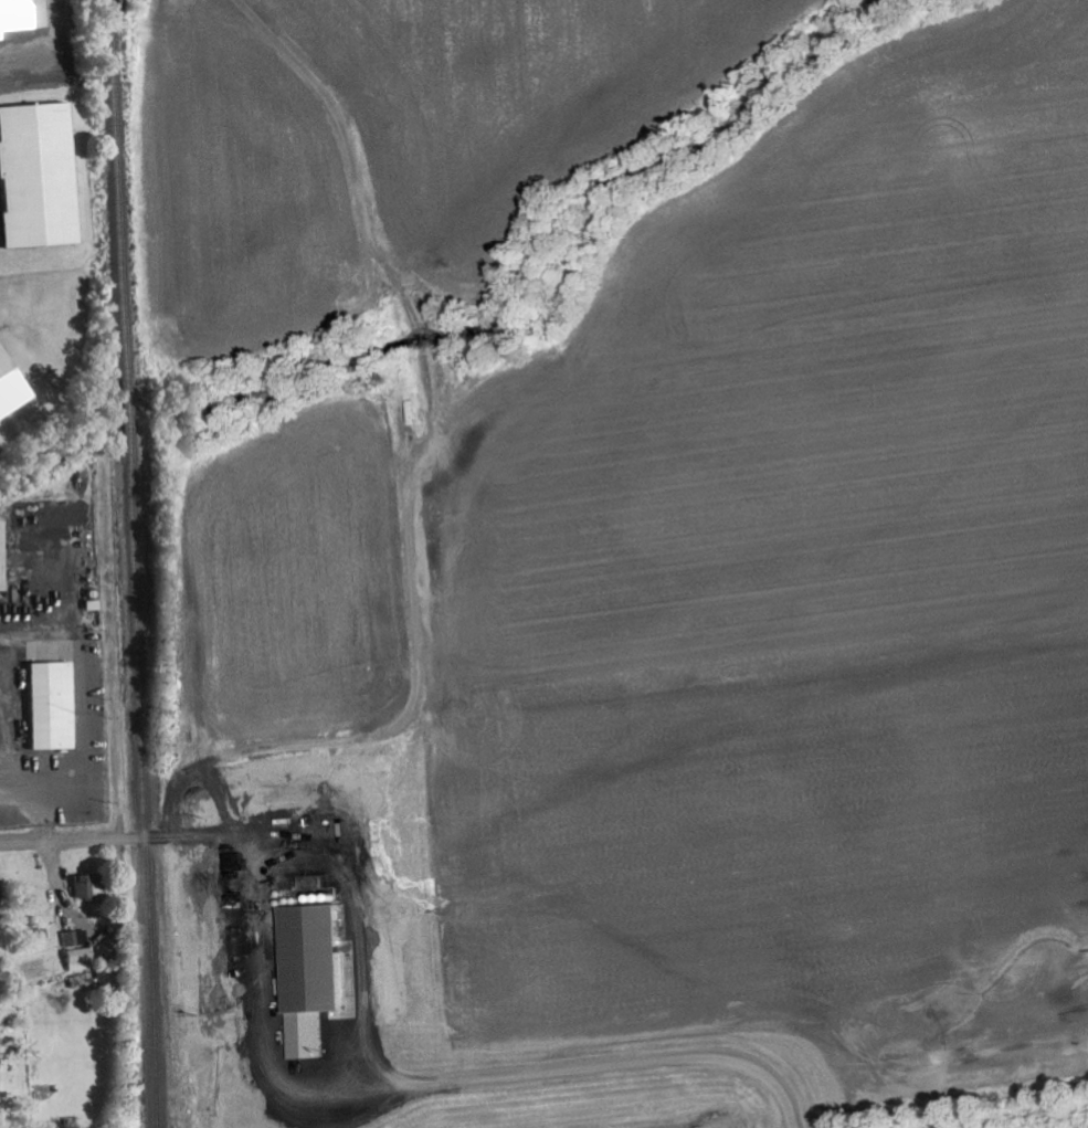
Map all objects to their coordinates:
railway: (119, 188)
building: (1, 349)
railway: (129, 404)
building: (53, 706)
road: (191, 765)
railway: (145, 779)
road: (23, 840)
building: (84, 886)
building: (78, 951)
building: (0, 1034)
building: (310, 1036)

